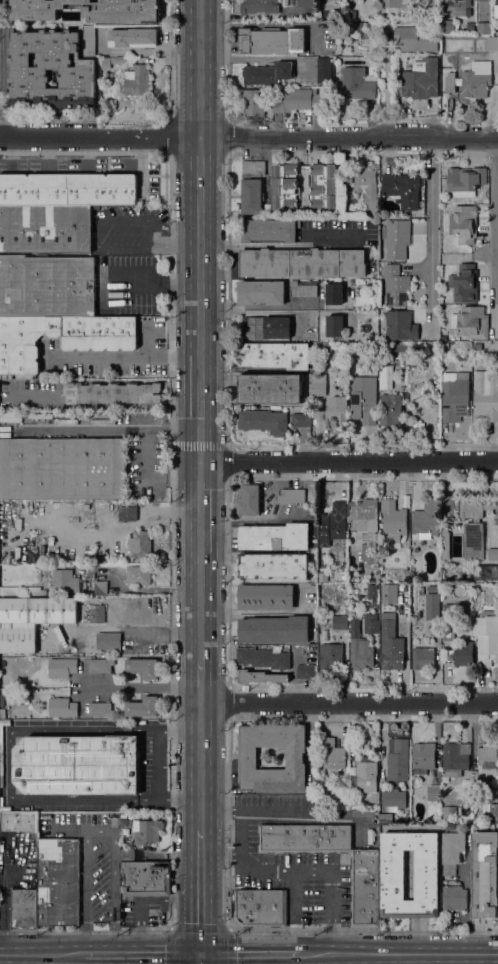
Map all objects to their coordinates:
building: (307, 3)
building: (394, 3)
building: (428, 3)
building: (260, 6)
building: (457, 7)
building: (88, 10)
building: (496, 10)
building: (442, 16)
building: (448, 26)
building: (484, 27)
building: (133, 38)
building: (415, 39)
building: (89, 41)
building: (272, 41)
building: (492, 43)
building: (119, 60)
building: (106, 62)
road: (2, 69)
building: (324, 70)
building: (29, 71)
building: (267, 73)
building: (137, 80)
building: (421, 80)
building: (471, 80)
building: (358, 83)
road: (387, 89)
building: (297, 100)
building: (254, 102)
road: (249, 139)
road: (142, 170)
building: (347, 179)
building: (465, 181)
building: (305, 186)
building: (252, 187)
building: (68, 189)
building: (368, 189)
building: (403, 189)
road: (96, 218)
building: (464, 223)
building: (45, 229)
building: (270, 230)
road: (434, 234)
building: (397, 238)
road: (299, 244)
road: (176, 245)
road: (218, 245)
road: (241, 245)
building: (303, 263)
building: (464, 284)
building: (396, 285)
building: (47, 286)
building: (303, 288)
building: (261, 292)
building: (334, 293)
building: (472, 322)
building: (401, 325)
building: (335, 326)
building: (267, 327)
road: (200, 330)
building: (477, 346)
building: (99, 347)
building: (324, 347)
building: (400, 348)
building: (275, 355)
road: (88, 356)
building: (386, 376)
building: (318, 384)
building: (271, 388)
building: (112, 393)
building: (486, 395)
building: (455, 397)
building: (363, 399)
building: (337, 410)
building: (391, 410)
building: (301, 419)
building: (264, 421)
road: (108, 431)
road: (349, 462)
building: (63, 468)
road: (150, 479)
building: (292, 495)
building: (248, 500)
building: (477, 507)
building: (127, 513)
building: (425, 520)
building: (332, 522)
building: (393, 523)
building: (367, 524)
building: (275, 536)
building: (473, 541)
building: (445, 543)
building: (139, 545)
building: (117, 557)
building: (273, 565)
building: (481, 573)
building: (139, 575)
building: (65, 581)
building: (100, 587)
building: (475, 588)
building: (19, 590)
building: (371, 591)
building: (43, 592)
building: (388, 593)
building: (266, 597)
building: (432, 603)
building: (37, 611)
building: (97, 614)
building: (321, 619)
building: (450, 620)
building: (340, 622)
building: (371, 623)
building: (274, 630)
building: (486, 637)
building: (18, 640)
building: (108, 641)
building: (391, 646)
building: (359, 648)
building: (460, 654)
building: (330, 656)
building: (262, 658)
building: (423, 658)
building: (100, 665)
building: (62, 667)
building: (143, 667)
building: (305, 671)
building: (262, 677)
building: (14, 682)
road: (200, 682)
building: (6, 683)
road: (143, 686)
road: (349, 703)
building: (143, 707)
building: (62, 708)
building: (100, 709)
building: (332, 754)
building: (248, 755)
building: (423, 757)
building: (455, 758)
building: (398, 760)
building: (486, 762)
building: (77, 764)
road: (200, 765)
building: (364, 776)
building: (489, 784)
building: (323, 792)
building: (434, 793)
building: (369, 800)
building: (393, 801)
building: (464, 806)
road: (263, 810)
building: (490, 812)
building: (449, 813)
building: (123, 815)
building: (19, 822)
building: (445, 827)
road: (99, 828)
building: (148, 831)
building: (453, 850)
road: (244, 854)
road: (327, 868)
building: (486, 874)
building: (427, 875)
building: (143, 877)
building: (59, 882)
building: (364, 890)
road: (201, 891)
building: (454, 898)
building: (260, 908)
building: (24, 909)
road: (200, 928)
road: (86, 932)
road: (42, 953)
road: (143, 953)
traffic signals: (202, 953)
road: (251, 953)
road: (399, 953)
road: (202, 958)
road: (268, 958)
road: (4, 959)

